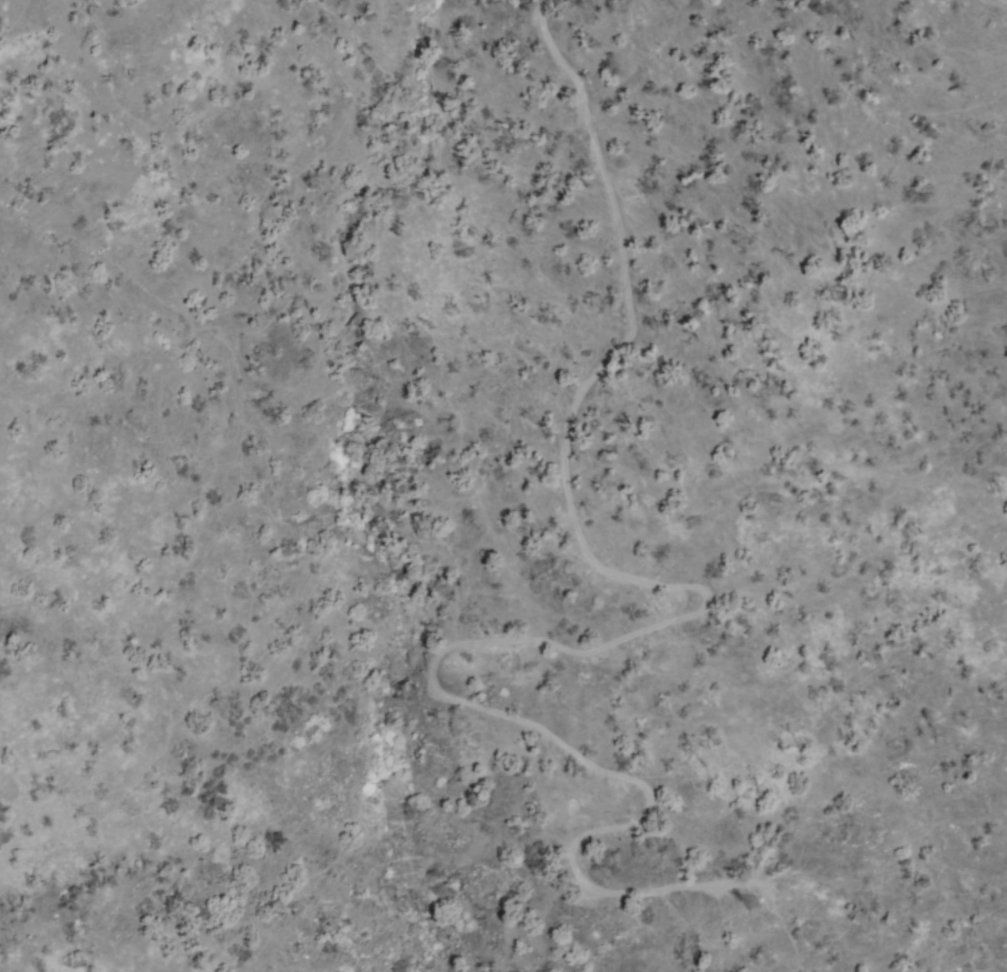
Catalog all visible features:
power tower: (736, 902)

